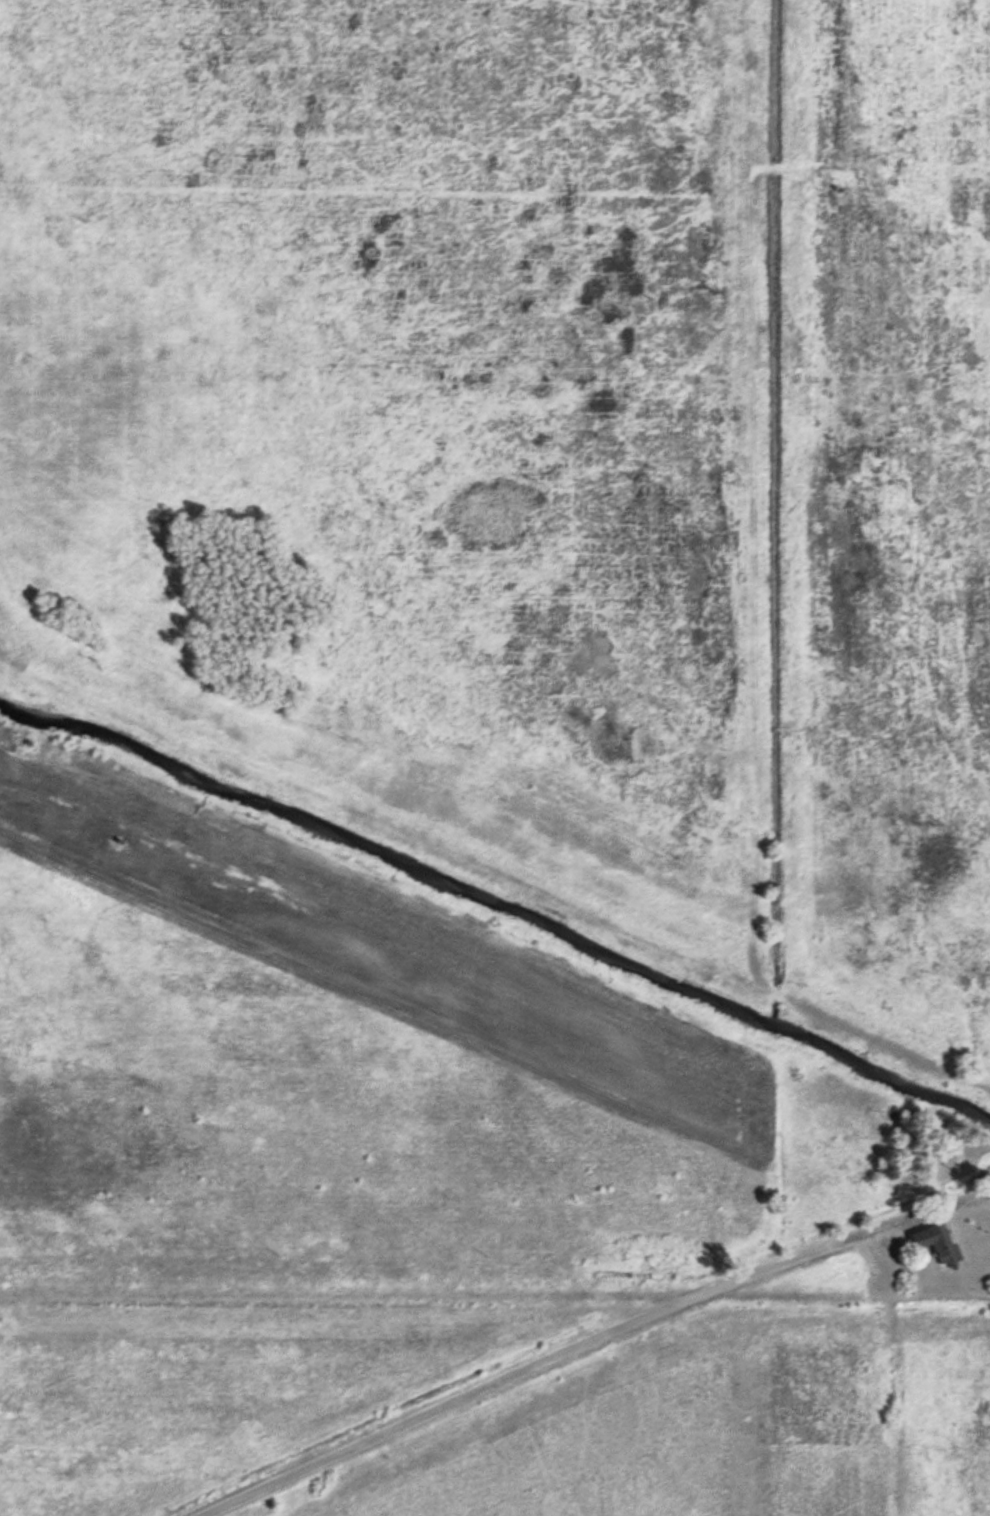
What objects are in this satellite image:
building: (930, 1240)
road: (587, 1336)

